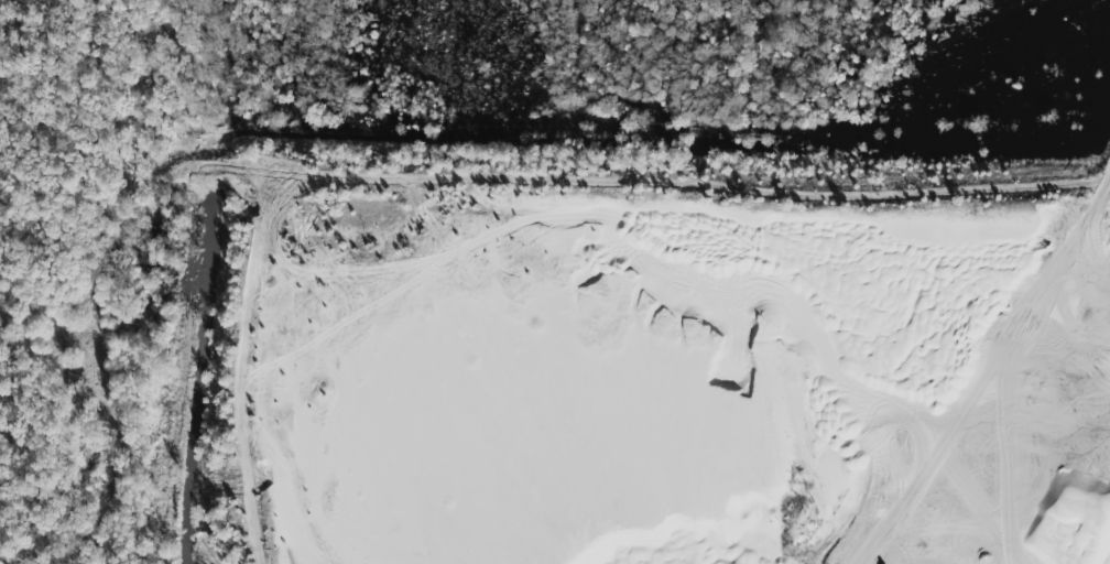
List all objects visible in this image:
road: (1093, 202)
road: (1093, 318)

